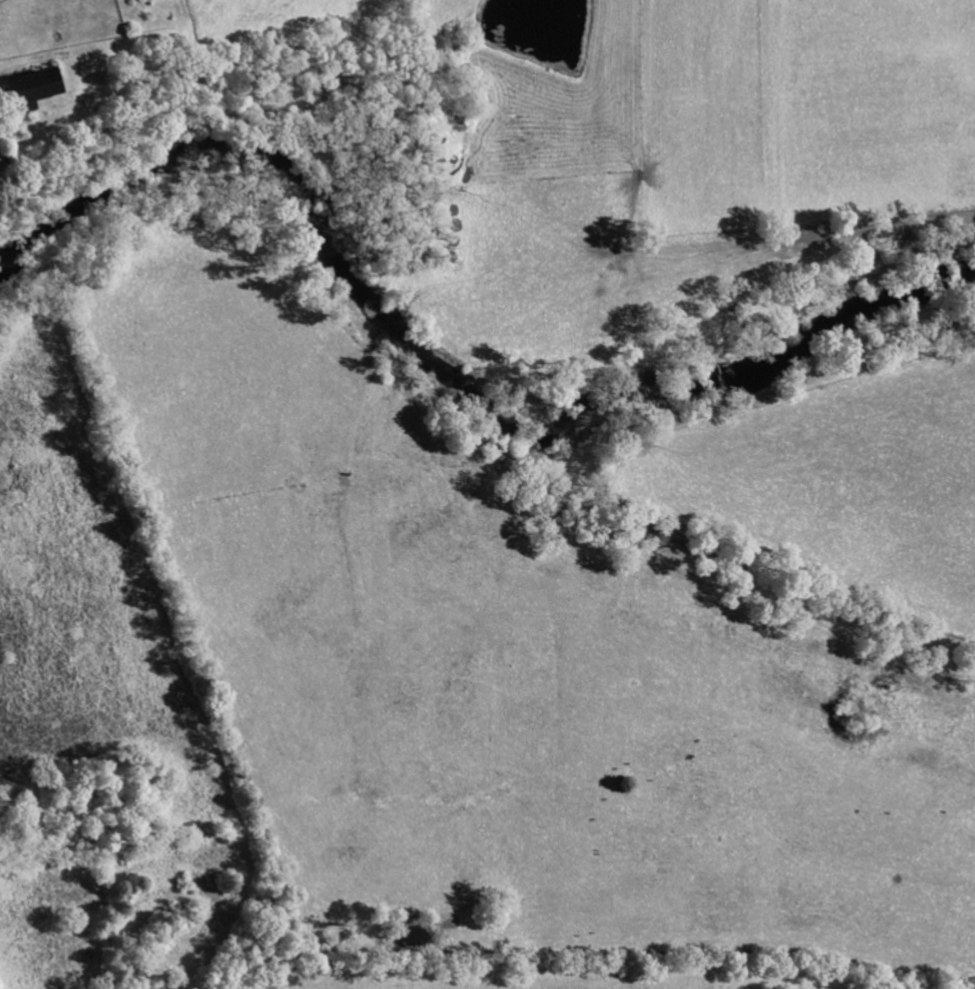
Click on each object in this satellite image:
building: (30, 88)

